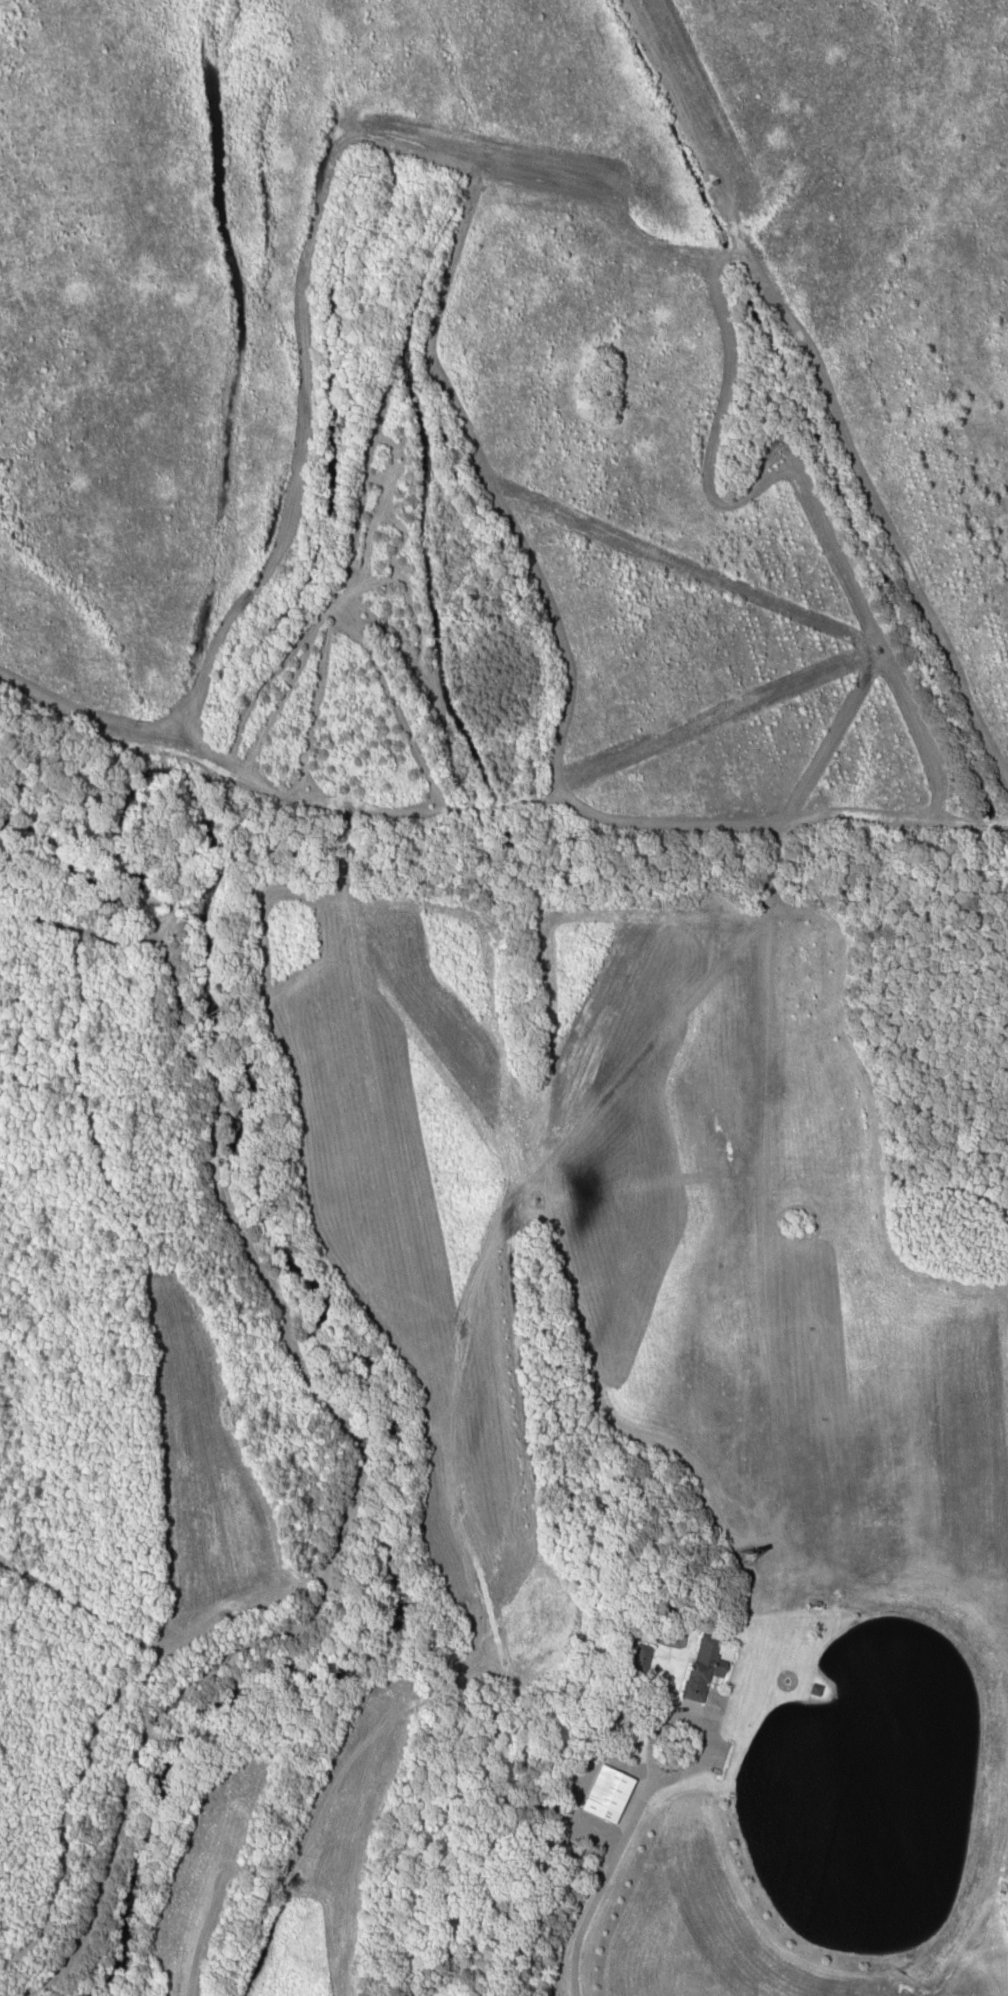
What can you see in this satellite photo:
building: (636, 1657)
building: (703, 1664)

